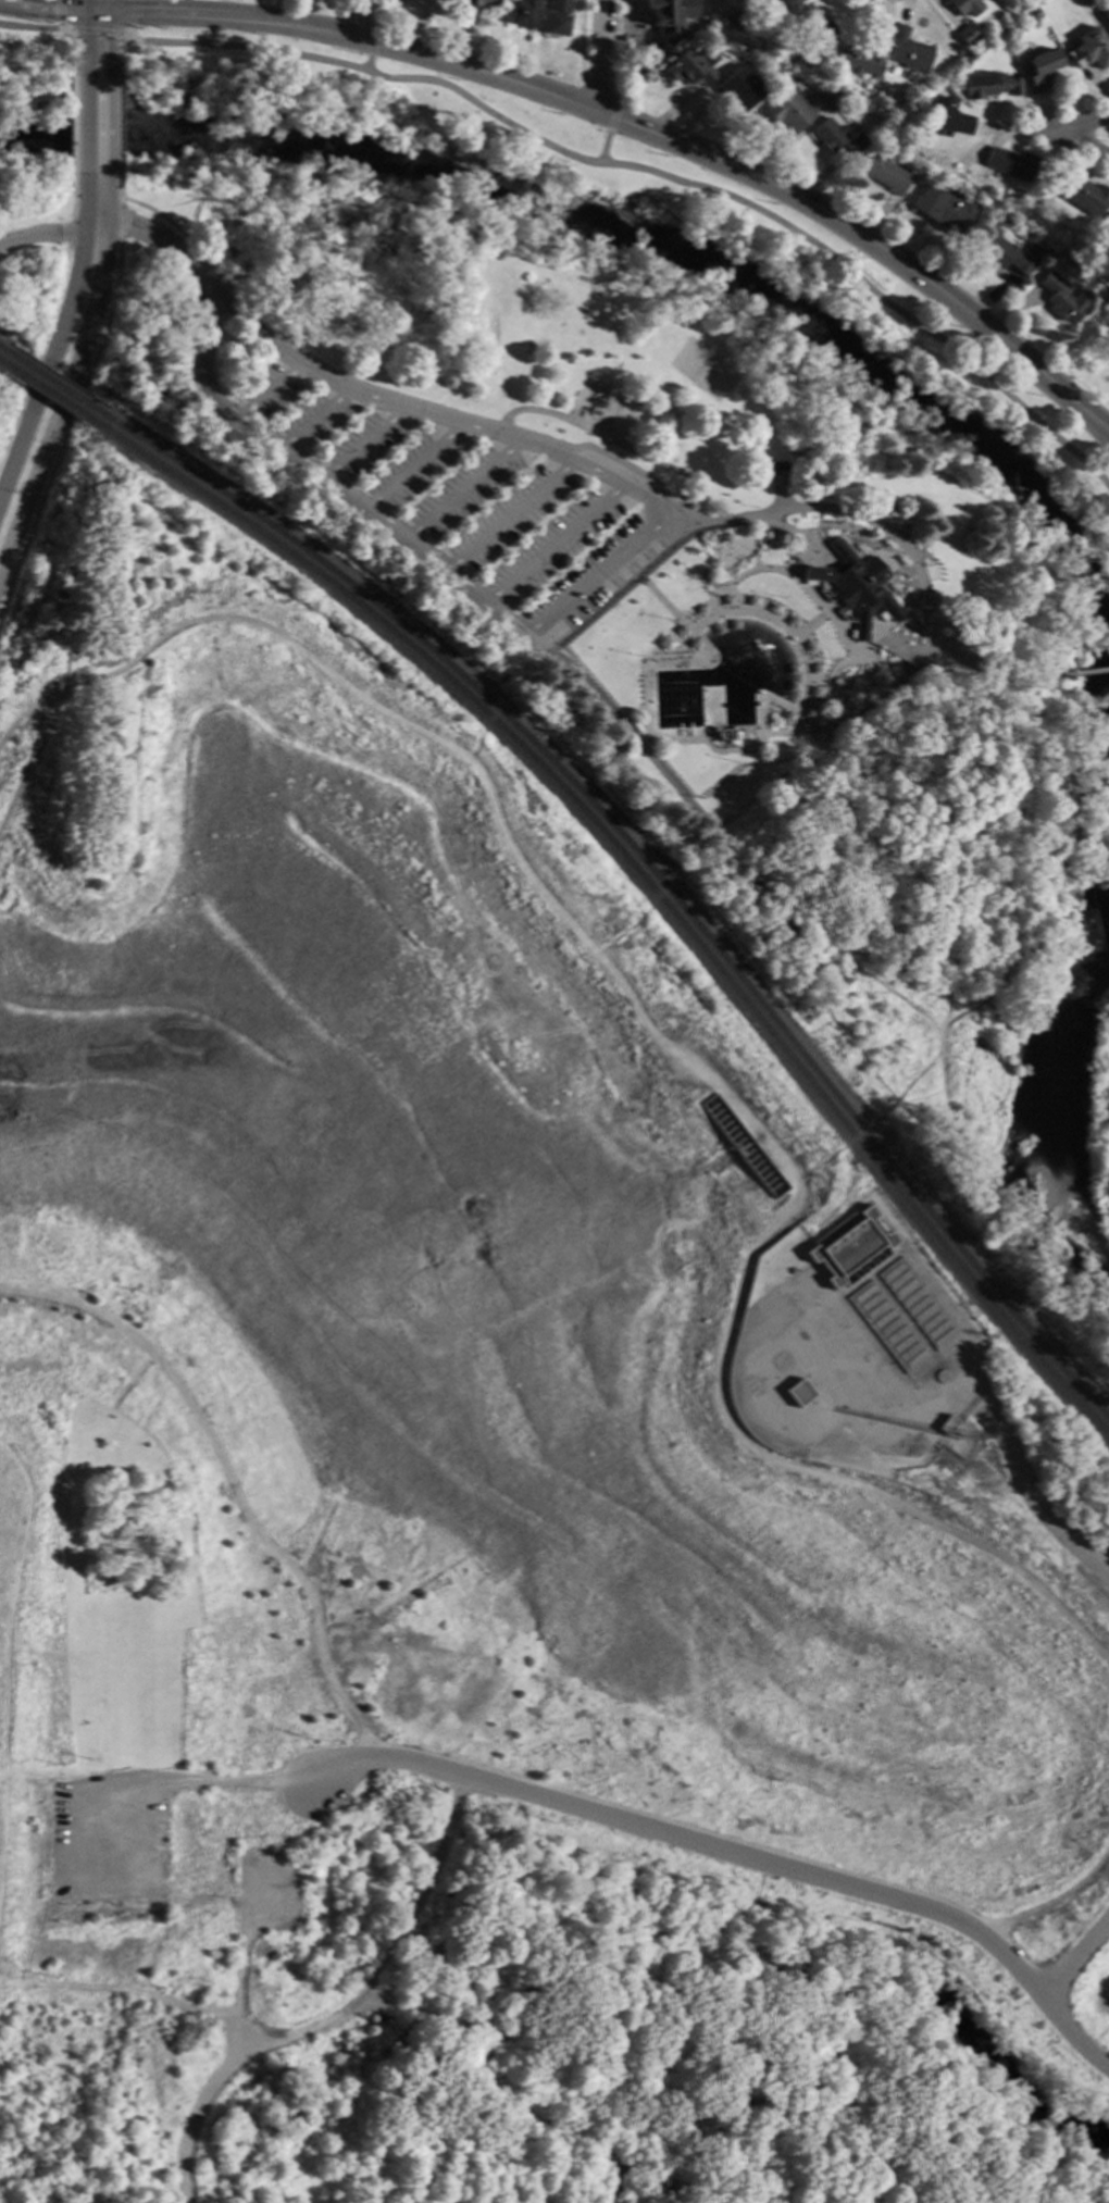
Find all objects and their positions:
building: (696, 1)
road: (353, 2)
road: (873, 2)
building: (477, 3)
road: (95, 5)
road: (717, 7)
building: (776, 7)
building: (965, 7)
road: (47, 9)
building: (661, 10)
road: (59, 11)
traffic signals: (95, 11)
road: (132, 13)
road: (373, 13)
building: (523, 13)
building: (1107, 16)
road: (354, 17)
building: (557, 17)
road: (234, 18)
building: (737, 20)
road: (95, 22)
building: (813, 25)
road: (59, 27)
road: (37, 29)
road: (96, 33)
road: (132, 33)
road: (372, 33)
building: (968, 35)
road: (581, 39)
road: (371, 49)
building: (1091, 49)
road: (619, 51)
building: (909, 51)
road: (71, 53)
building: (802, 53)
road: (601, 54)
road: (94, 55)
road: (117, 55)
building: (860, 61)
road: (367, 64)
building: (694, 69)
building: (1042, 70)
road: (600, 86)
building: (989, 86)
building: (740, 89)
road: (104, 99)
road: (1099, 99)
building: (832, 100)
road: (615, 110)
building: (788, 112)
building: (946, 120)
road: (72, 125)
road: (611, 125)
road: (94, 126)
road: (117, 126)
road: (1060, 134)
building: (837, 137)
road: (1092, 144)
road: (603, 148)
building: (1009, 163)
road: (651, 172)
building: (886, 174)
road: (767, 185)
road: (119, 187)
building: (1081, 192)
road: (95, 202)
road: (283, 204)
building: (944, 211)
road: (100, 228)
river: (615, 229)
road: (47, 235)
building: (1029, 236)
park: (29, 241)
road: (163, 242)
building: (1008, 253)
road: (91, 265)
building: (1066, 299)
road: (50, 320)
road: (62, 332)
road: (85, 343)
road: (289, 344)
road: (772, 344)
railway: (5, 354)
railway: (3, 364)
park: (701, 372)
road: (43, 384)
railway: (54, 386)
road: (267, 393)
railway: (51, 396)
road: (64, 397)
road: (74, 408)
road: (511, 412)
road: (425, 416)
road: (312, 422)
park: (5, 423)
road: (215, 441)
road: (360, 446)
road: (18, 449)
road: (409, 470)
road: (323, 485)
road: (29, 491)
road: (459, 494)
parking lot: (453, 500)
road: (507, 519)
road: (824, 524)
road: (896, 542)
road: (652, 545)
road: (551, 546)
road: (807, 548)
road: (636, 559)
road: (621, 572)
building: (927, 574)
road: (594, 575)
park: (669, 582)
road: (605, 586)
road: (624, 586)
building: (851, 587)
road: (899, 617)
road: (1070, 633)
road: (1054, 639)
water park: (744, 649)
road: (911, 660)
road: (1085, 673)
road: (502, 701)
park: (1099, 708)
road: (17, 718)
river: (1108, 726)
road: (652, 822)
road: (714, 827)
road: (701, 845)
road: (999, 860)
road: (746, 863)
railway: (648, 869)
road: (1068, 879)
railway: (645, 884)
road: (646, 911)
road: (831, 950)
road: (917, 1012)
road: (644, 1025)
park: (672, 1050)
road: (869, 1068)
road: (918, 1075)
river: (1067, 1103)
road: (846, 1143)
road: (993, 1207)
building: (849, 1248)
building: (798, 1393)
building: (945, 1427)
road: (229, 1478)
road: (1031, 1501)
road: (1097, 1533)
park: (377, 1535)
road: (3, 1648)
road: (26, 1775)
road: (238, 1780)
parking lot: (107, 1838)
road: (737, 1856)
road: (203, 1900)
road: (1050, 1900)
park: (404, 1913)
road: (475, 1924)
road: (550, 1938)
road: (142, 1949)
road: (240, 1957)
road: (1074, 1961)
road: (121, 1989)
road: (364, 2005)
park: (1093, 2006)
road: (338, 2015)
road: (497, 2079)
road: (424, 2119)
road: (611, 2192)
road: (624, 2192)
park: (577, 2195)

